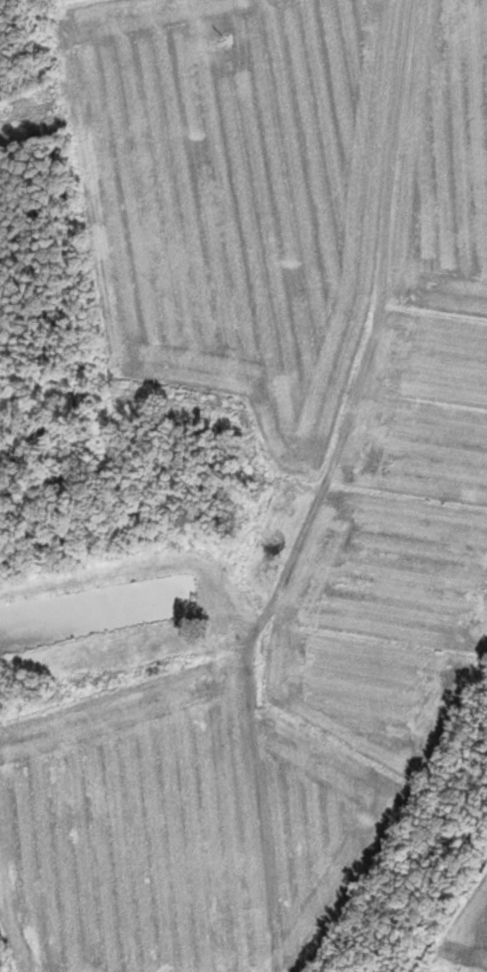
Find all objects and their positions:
road: (54, 180)

